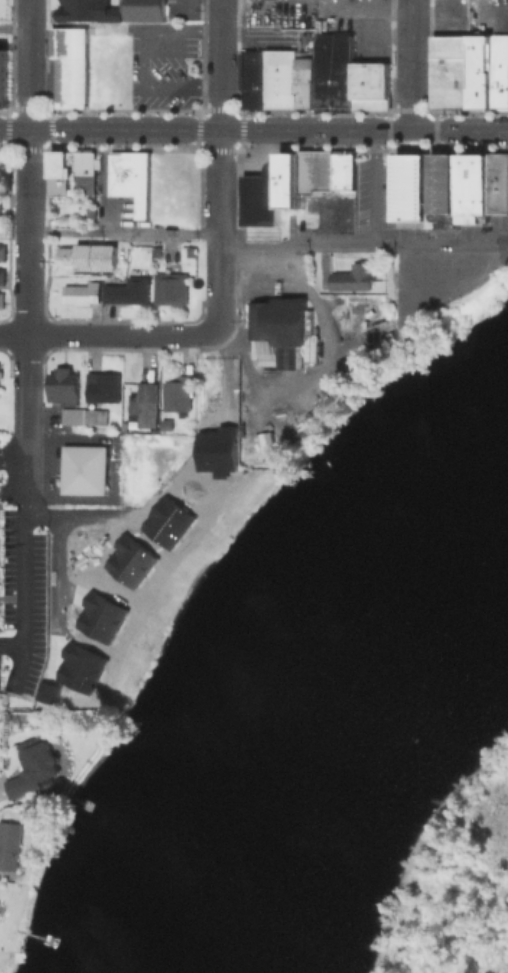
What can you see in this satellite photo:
road: (194, 8)
parking lot: (195, 9)
building: (87, 10)
building: (144, 10)
road: (363, 11)
parking lot: (492, 12)
parking lot: (278, 13)
road: (493, 13)
road: (13, 29)
road: (254, 40)
road: (141, 60)
road: (409, 65)
building: (70, 66)
parking lot: (162, 67)
building: (333, 71)
building: (449, 71)
building: (480, 71)
building: (500, 71)
building: (3, 78)
building: (280, 78)
building: (253, 81)
building: (306, 84)
building: (369, 87)
road: (219, 125)
road: (254, 130)
building: (82, 170)
building: (315, 170)
building: (342, 170)
building: (60, 171)
building: (129, 178)
building: (290, 180)
building: (498, 183)
building: (412, 186)
building: (473, 186)
road: (373, 187)
road: (25, 190)
building: (444, 190)
parking lot: (374, 191)
building: (261, 196)
building: (0, 213)
road: (108, 232)
road: (362, 245)
building: (1, 252)
building: (86, 256)
parking lot: (459, 257)
building: (1, 275)
building: (352, 279)
building: (170, 287)
building: (126, 290)
building: (80, 293)
road: (441, 297)
building: (0, 299)
building: (279, 321)
road: (146, 335)
road: (320, 374)
building: (63, 386)
building: (103, 388)
building: (177, 394)
building: (144, 405)
building: (72, 416)
road: (23, 433)
building: (219, 445)
road: (11, 462)
building: (85, 470)
road: (72, 513)
building: (171, 519)
building: (134, 556)
road: (23, 587)
road: (56, 591)
building: (104, 612)
road: (12, 646)
building: (83, 663)
building: (49, 687)
building: (32, 768)
pier: (76, 802)
pier: (85, 806)
building: (9, 845)
pier: (34, 935)

